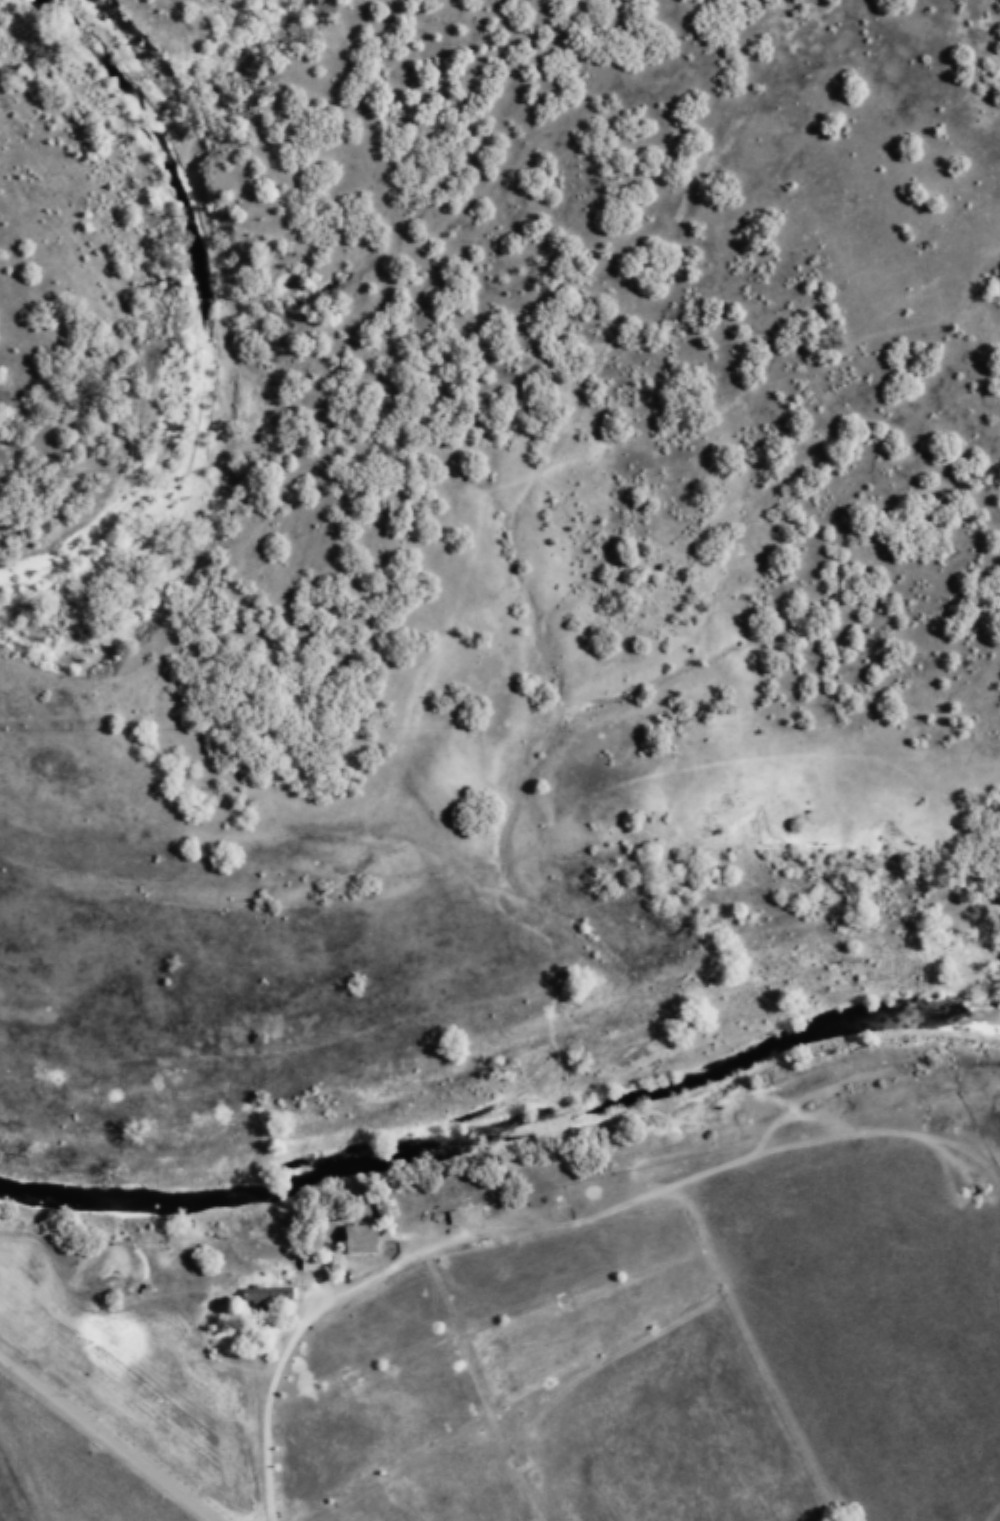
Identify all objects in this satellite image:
river: (218, 318)
river: (502, 1119)
building: (387, 1209)
building: (362, 1240)
building: (311, 1263)
building: (266, 1299)
road: (112, 1436)

